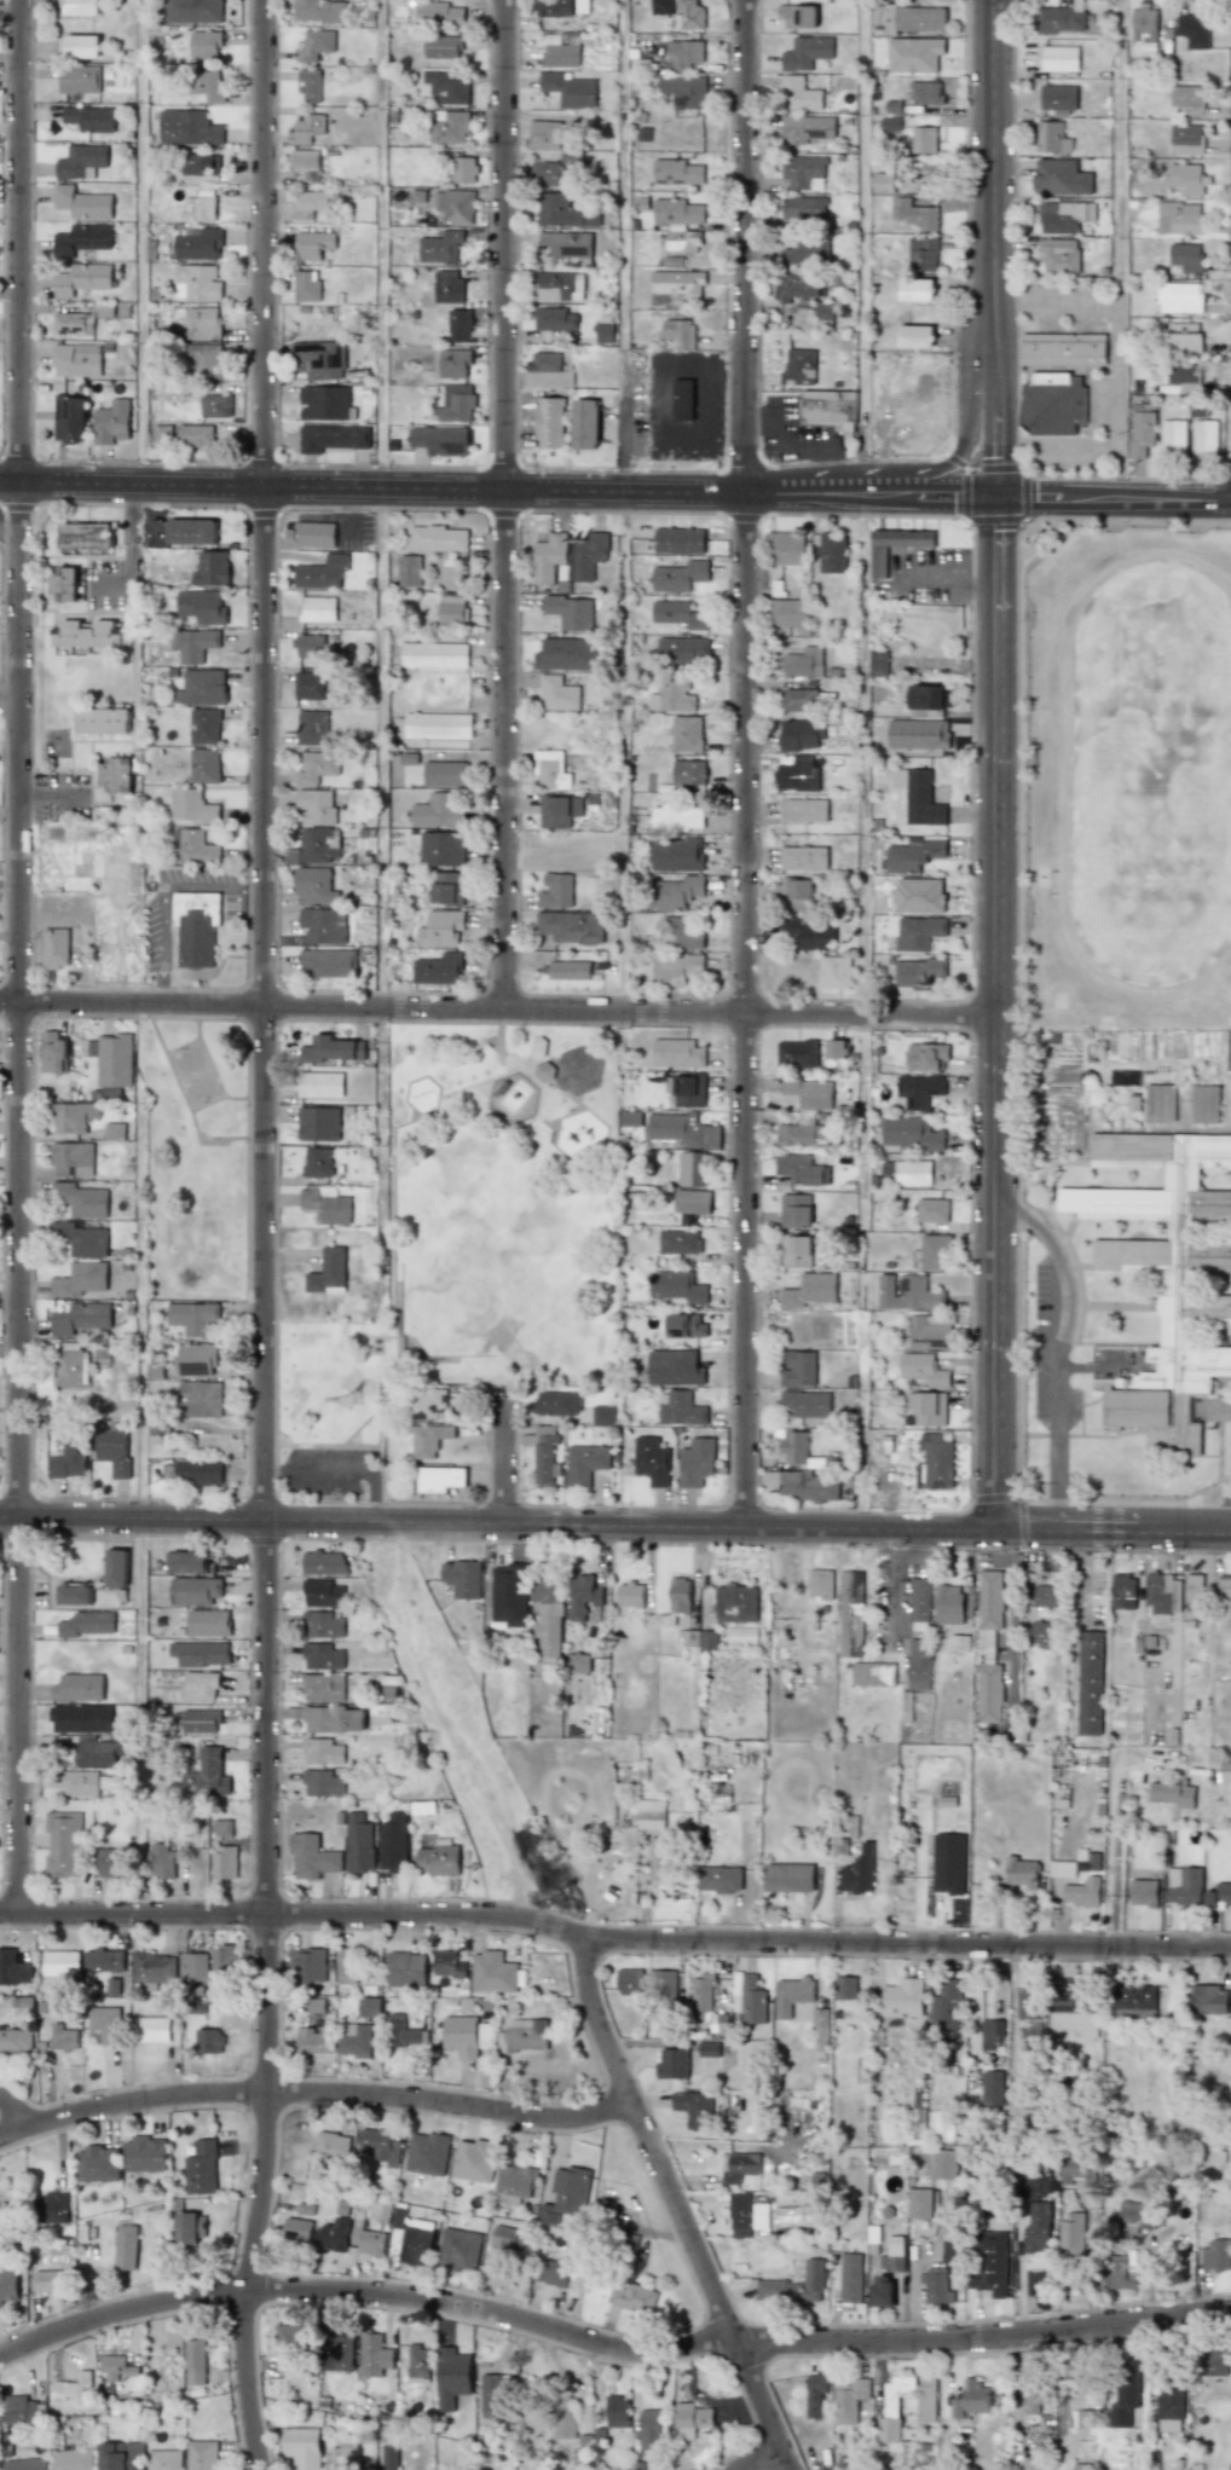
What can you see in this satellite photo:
building: (661, 6)
building: (82, 7)
building: (553, 7)
building: (195, 11)
building: (323, 11)
building: (439, 13)
building: (908, 18)
building: (1059, 18)
building: (1144, 24)
building: (1194, 30)
building: (206, 44)
building: (316, 45)
building: (82, 46)
building: (443, 47)
building: (805, 53)
building: (683, 54)
building: (914, 54)
building: (1059, 58)
building: (80, 79)
building: (207, 85)
building: (310, 85)
building: (449, 86)
building: (570, 89)
building: (684, 91)
building: (924, 92)
building: (798, 93)
building: (1058, 97)
building: (1187, 98)
building: (89, 118)
building: (449, 126)
building: (189, 128)
building: (308, 128)
building: (807, 128)
building: (545, 134)
building: (1051, 138)
building: (924, 139)
building: (1186, 139)
building: (83, 163)
building: (306, 163)
building: (201, 164)
building: (464, 169)
building: (676, 172)
building: (803, 172)
building: (543, 173)
building: (1060, 178)
building: (1185, 178)
building: (883, 183)
building: (312, 202)
building: (82, 203)
building: (455, 206)
building: (203, 208)
building: (804, 208)
building: (564, 212)
building: (676, 212)
building: (913, 213)
building: (1064, 216)
building: (1179, 218)
building: (82, 239)
building: (682, 241)
road: (143, 242)
building: (197, 243)
building: (566, 243)
building: (314, 244)
road: (626, 245)
building: (440, 247)
road: (995, 249)
road: (1117, 249)
building: (805, 251)
building: (923, 254)
building: (1059, 254)
building: (1185, 258)
building: (81, 278)
building: (197, 283)
building: (794, 285)
building: (449, 287)
building: (559, 287)
building: (675, 287)
building: (306, 288)
building: (915, 290)
building: (1179, 297)
road: (1067, 305)
road: (1006, 306)
building: (823, 314)
building: (554, 319)
building: (203, 323)
building: (73, 324)
building: (458, 325)
building: (605, 332)
building: (680, 332)
building: (1184, 335)
building: (915, 336)
building: (1063, 349)
building: (76, 359)
building: (204, 359)
building: (319, 359)
building: (544, 361)
building: (455, 363)
building: (799, 368)
building: (1184, 372)
building: (682, 399)
building: (325, 403)
building: (457, 403)
building: (1053, 404)
building: (215, 406)
building: (828, 407)
road: (762, 418)
building: (69, 420)
building: (111, 422)
building: (550, 422)
building: (585, 424)
road: (778, 430)
building: (1142, 433)
building: (162, 435)
building: (196, 435)
building: (1173, 436)
building: (334, 438)
building: (1204, 438)
building: (440, 440)
road: (803, 444)
road: (1076, 451)
road: (828, 469)
road: (498, 488)
road: (1114, 499)
road: (351, 502)
road: (504, 504)
road: (325, 516)
road: (351, 525)
building: (191, 531)
building: (316, 534)
building: (86, 536)
building: (438, 538)
building: (678, 540)
building: (894, 545)
building: (786, 548)
road: (128, 553)
building: (832, 553)
building: (589, 555)
building: (548, 556)
building: (212, 568)
road: (957, 569)
building: (409, 571)
building: (322, 572)
building: (680, 575)
building: (64, 584)
building: (201, 606)
building: (452, 607)
building: (317, 609)
building: (571, 612)
building: (788, 612)
building: (678, 614)
building: (89, 635)
building: (193, 644)
building: (310, 647)
building: (683, 649)
building: (434, 654)
building: (565, 654)
building: (803, 661)
road: (383, 663)
building: (878, 664)
building: (201, 684)
building: (308, 686)
building: (559, 694)
building: (671, 695)
building: (801, 695)
building: (927, 700)
building: (103, 721)
building: (203, 723)
building: (312, 724)
building: (438, 724)
building: (687, 734)
building: (801, 735)
road: (625, 751)
building: (318, 764)
road: (745, 764)
road: (865, 764)
building: (204, 765)
building: (550, 769)
building: (689, 771)
building: (445, 774)
building: (797, 774)
building: (115, 775)
building: (918, 797)
building: (192, 806)
building: (316, 806)
building: (438, 810)
building: (559, 810)
building: (803, 810)
building: (677, 816)
power tower: (112, 835)
building: (192, 846)
building: (316, 846)
building: (441, 849)
building: (677, 855)
building: (914, 855)
building: (803, 857)
building: (313, 885)
road: (253, 886)
building: (447, 887)
building: (796, 889)
building: (556, 891)
building: (676, 892)
road: (161, 895)
building: (323, 925)
building: (196, 926)
building: (571, 926)
building: (440, 929)
building: (919, 932)
building: (681, 933)
building: (807, 935)
building: (56, 948)
road: (19, 955)
building: (329, 962)
building: (439, 968)
building: (676, 968)
building: (568, 970)
building: (834, 972)
building: (918, 972)
road: (160, 995)
road: (499, 1007)
road: (999, 1013)
building: (837, 1048)
building: (331, 1049)
building: (52, 1052)
building: (677, 1053)
building: (797, 1054)
building: (927, 1057)
building: (112, 1059)
building: (542, 1071)
building: (320, 1084)
building: (689, 1091)
building: (919, 1091)
building: (809, 1093)
building: (1161, 1103)
building: (1204, 1104)
building: (73, 1116)
building: (630, 1118)
building: (319, 1123)
building: (114, 1130)
building: (680, 1132)
building: (912, 1134)
building: (73, 1158)
building: (317, 1162)
building: (692, 1168)
building: (802, 1169)
building: (906, 1173)
road: (624, 1197)
building: (81, 1199)
building: (692, 1202)
building: (325, 1204)
building: (796, 1209)
building: (932, 1210)
road: (1028, 1220)
road: (264, 1236)
building: (82, 1239)
building: (680, 1242)
park: (472, 1244)
building: (794, 1251)
building: (931, 1253)
building: (1164, 1265)
building: (328, 1272)
building: (80, 1279)
building: (676, 1288)
building: (810, 1290)
building: (907, 1292)
road: (143, 1307)
building: (193, 1317)
building: (80, 1318)
building: (684, 1326)
building: (931, 1331)
road: (1060, 1337)
building: (197, 1358)
parking lot: (1048, 1366)
building: (674, 1367)
building: (798, 1369)
building: (924, 1369)
power tower: (347, 1378)
building: (198, 1399)
building: (426, 1402)
building: (556, 1402)
building: (805, 1404)
building: (680, 1408)
building: (927, 1408)
building: (602, 1415)
building: (429, 1439)
building: (794, 1446)
building: (114, 1447)
building: (543, 1453)
building: (70, 1454)
road: (502, 1456)
building: (652, 1460)
building: (697, 1462)
building: (935, 1463)
building: (584, 1464)
building: (198, 1470)
road: (326, 1473)
road: (273, 1474)
building: (440, 1479)
road: (1052, 1482)
building: (808, 1486)
road: (372, 1499)
road: (615, 1527)
building: (189, 1562)
building: (323, 1562)
building: (116, 1567)
road: (1081, 1572)
building: (462, 1578)
building: (820, 1583)
building: (195, 1590)
road: (898, 1590)
building: (1122, 1590)
building: (1194, 1591)
building: (75, 1593)
building: (323, 1593)
building: (509, 1593)
building: (1160, 1593)
building: (631, 1595)
building: (681, 1595)
building: (583, 1596)
building: (1046, 1596)
building: (1224, 1596)
building: (919, 1600)
building: (736, 1603)
building: (948, 1604)
building: (850, 1613)
building: (548, 1618)
road: (1012, 1618)
building: (209, 1622)
building: (87, 1624)
building: (322, 1625)
building: (1040, 1633)
building: (707, 1639)
building: (959, 1642)
building: (989, 1645)
building: (201, 1653)
building: (322, 1656)
building: (579, 1662)
building: (919, 1664)
building: (873, 1673)
building: (1090, 1683)
building: (200, 1685)
building: (323, 1687)
building: (79, 1688)
road: (143, 1718)
building: (81, 1719)
building: (334, 1719)
building: (200, 1720)
building: (97, 1752)
building: (322, 1752)
building: (207, 1775)
building: (76, 1782)
building: (322, 1783)
building: (1174, 1794)
building: (1060, 1798)
building: (651, 1814)
building: (222, 1828)
building: (393, 1841)
building: (358, 1843)
building: (63, 1844)
building: (312, 1857)
building: (659, 1858)
building: (160, 1859)
building: (437, 1859)
building: (224, 1862)
building: (111, 1863)
building: (948, 1863)
building: (1062, 1869)
building: (859, 1870)
building: (1022, 1872)
building: (788, 1876)
building: (719, 1879)
building: (1184, 1886)
building: (1082, 1892)
building: (1144, 1892)
power tower: (573, 1893)
building: (1219, 1897)
road: (10, 1913)
road: (623, 1936)
building: (104, 1960)
building: (60, 1962)
building: (210, 1963)
building: (447, 1963)
building: (306, 1965)
building: (346, 1966)
building: (13, 1968)
building: (154, 1968)
building: (406, 1968)
building: (492, 1972)
building: (630, 1980)
building: (664, 1984)
building: (845, 1988)
building: (792, 1995)
building: (701, 1997)
building: (903, 1998)
building: (1134, 1998)
building: (1208, 1998)
building: (752, 2000)
building: (1029, 2000)
building: (947, 2006)
building: (369, 2007)
building: (1071, 2013)
building: (105, 2024)
building: (151, 2029)
building: (820, 2030)
building: (401, 2032)
building: (990, 2032)
building: (485, 2035)
building: (524, 2035)
building: (461, 2036)
building: (64, 2037)
building: (16, 2038)
building: (313, 2040)
building: (204, 2041)
building: (357, 2042)
building: (709, 2048)
building: (672, 2063)
building: (992, 2088)
road: (317, 2092)
road: (16, 2107)
building: (694, 2109)
building: (333, 2144)
building: (381, 2145)
building: (427, 2153)
building: (144, 2154)
building: (474, 2160)
building: (97, 2164)
building: (946, 2164)
building: (739, 2165)
building: (202, 2168)
building: (1079, 2170)
building: (516, 2180)
building: (566, 2194)
road: (667, 2202)
building: (919, 2204)
building: (50, 2208)
building: (1137, 2214)
building: (746, 2215)
building: (794, 2215)
building: (1038, 2228)
building: (297, 2231)
building: (1073, 2232)
building: (190, 2233)
building: (333, 2234)
building: (507, 2237)
building: (366, 2239)
building: (417, 2241)
building: (126, 2246)
road: (1022, 2249)
building: (460, 2250)
building: (1216, 2255)
building: (990, 2262)
road: (915, 2264)
building: (553, 2272)
building: (1122, 2273)
building: (851, 2278)
building: (50, 2280)
building: (7, 2285)
building: (796, 2285)
building: (936, 2286)
road: (362, 2291)
building: (882, 2292)
building: (632, 2296)
road: (981, 2338)
building: (288, 2343)
building: (341, 2352)
building: (374, 2355)
building: (418, 2360)
building: (195, 2362)
building: (117, 2367)
building: (1213, 2368)
building: (1034, 2383)
building: (74, 2388)
building: (1126, 2393)
building: (815, 2394)
building: (492, 2396)
building: (849, 2400)
building: (971, 2400)
building: (927, 2406)
building: (22, 2410)
building: (617, 2411)
building: (1085, 2419)
building: (690, 2420)
road: (426, 2428)
building: (649, 2429)
road: (747, 2446)
building: (301, 2447)
building: (122, 2455)
building: (202, 2455)
building: (389, 2457)
building: (74, 2459)
building: (164, 2459)
building: (25, 2464)
power tower: (820, 2469)

